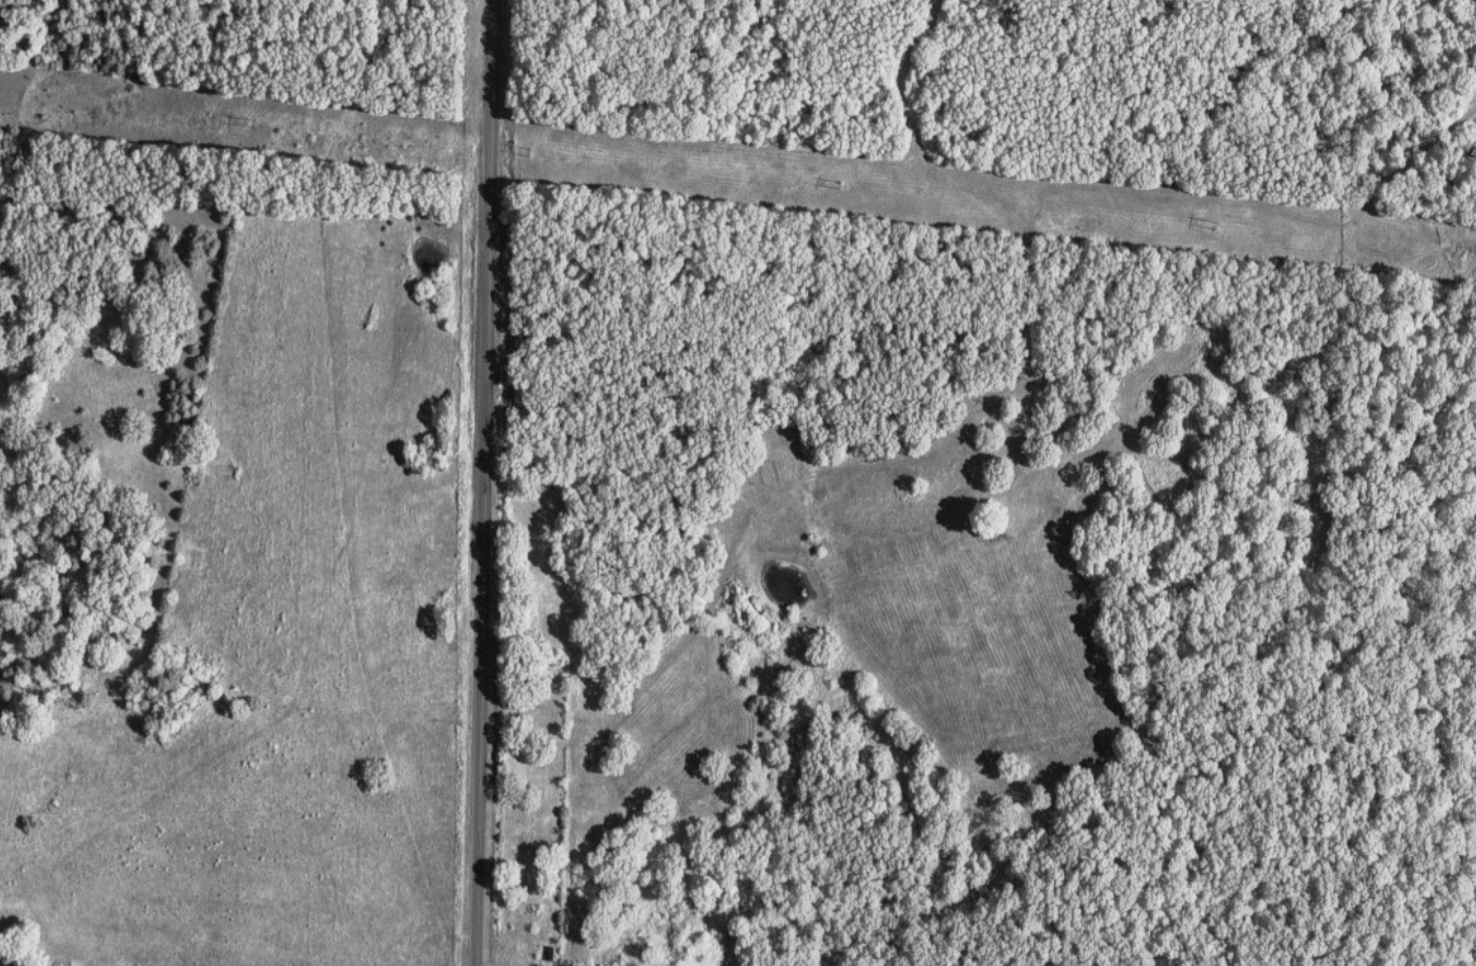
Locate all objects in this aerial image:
road: (491, 482)

